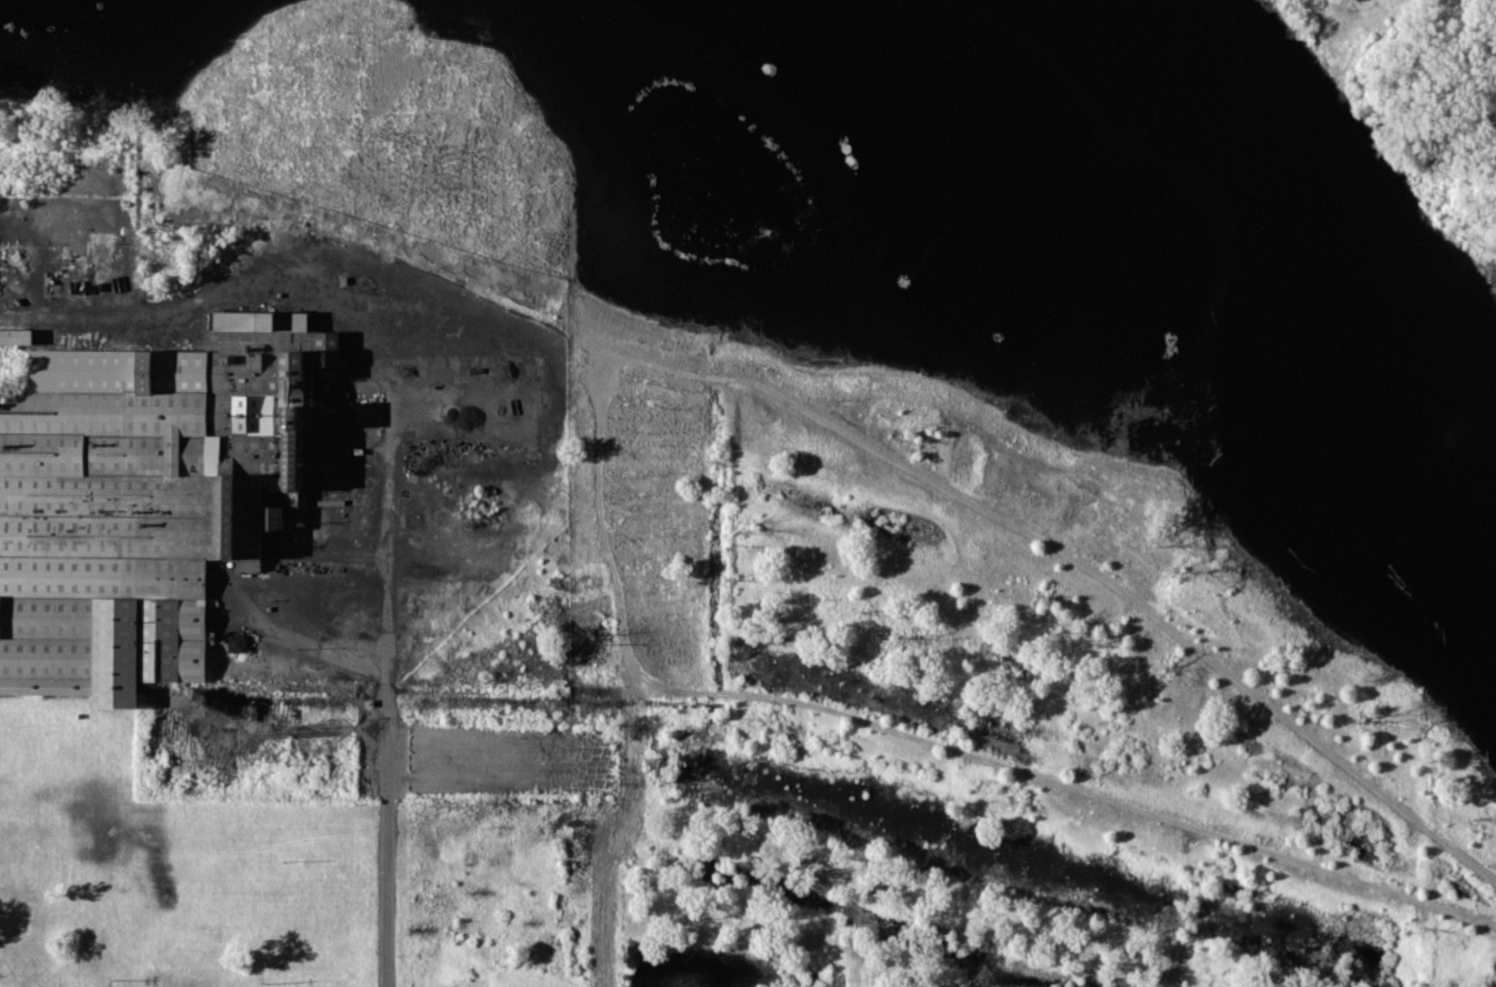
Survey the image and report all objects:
river: (1397, 300)
building: (15, 334)
building: (145, 498)
railway: (1138, 604)
road: (1138, 604)
road: (298, 637)
building: (236, 643)
road: (390, 674)
parking lot: (483, 751)
road: (1133, 806)
road: (980, 909)

